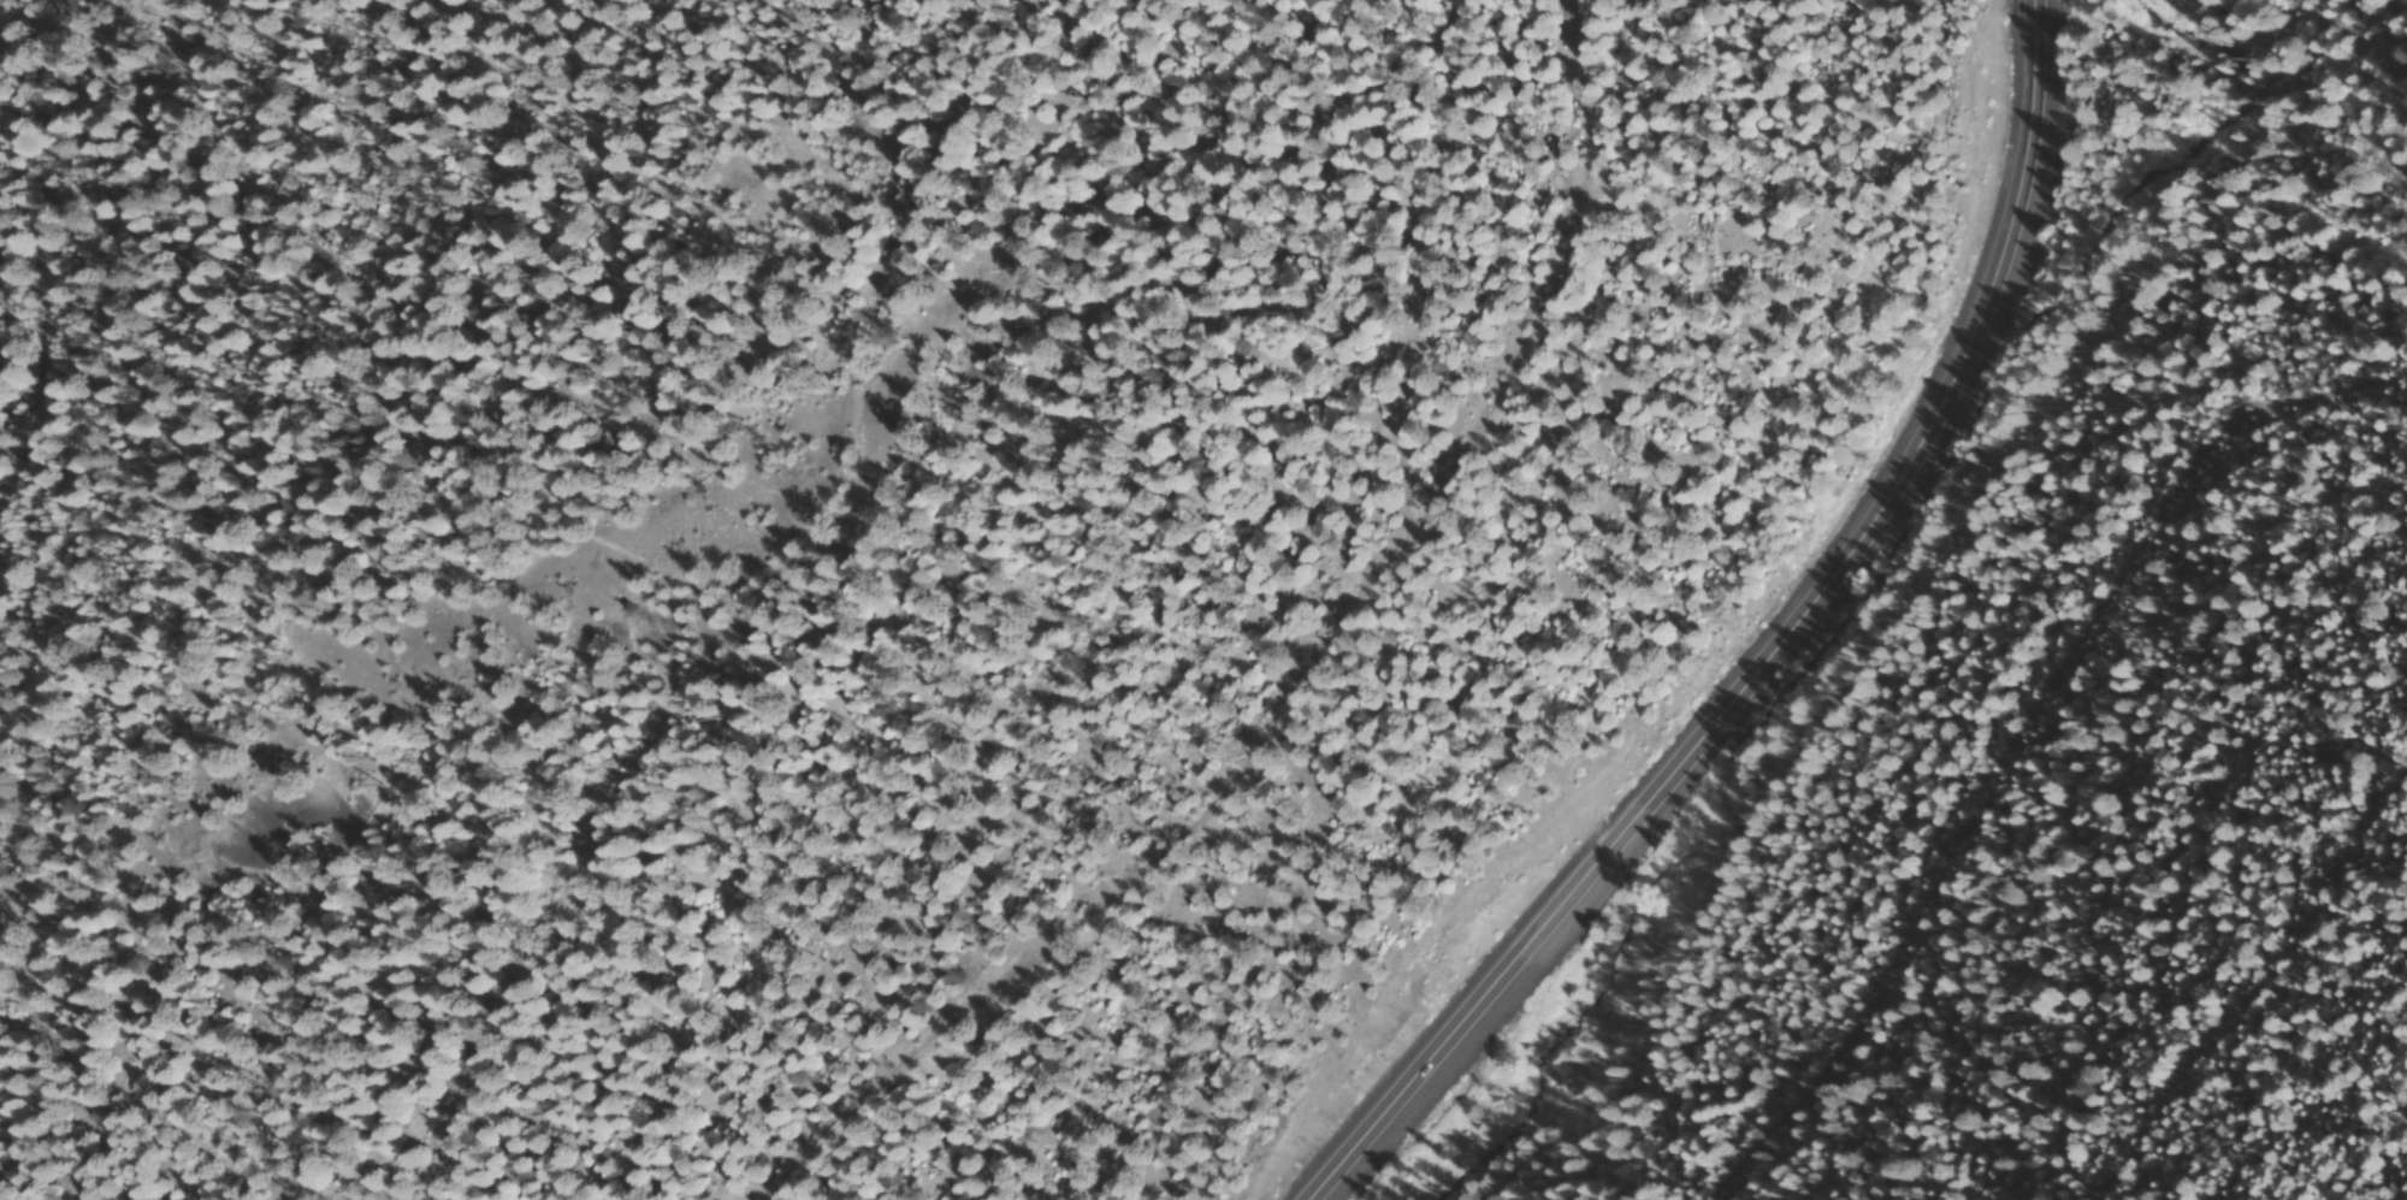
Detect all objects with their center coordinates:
road: (116, 219)
road: (2099, 584)
road: (1784, 654)
road: (1217, 685)
road: (2307, 927)

